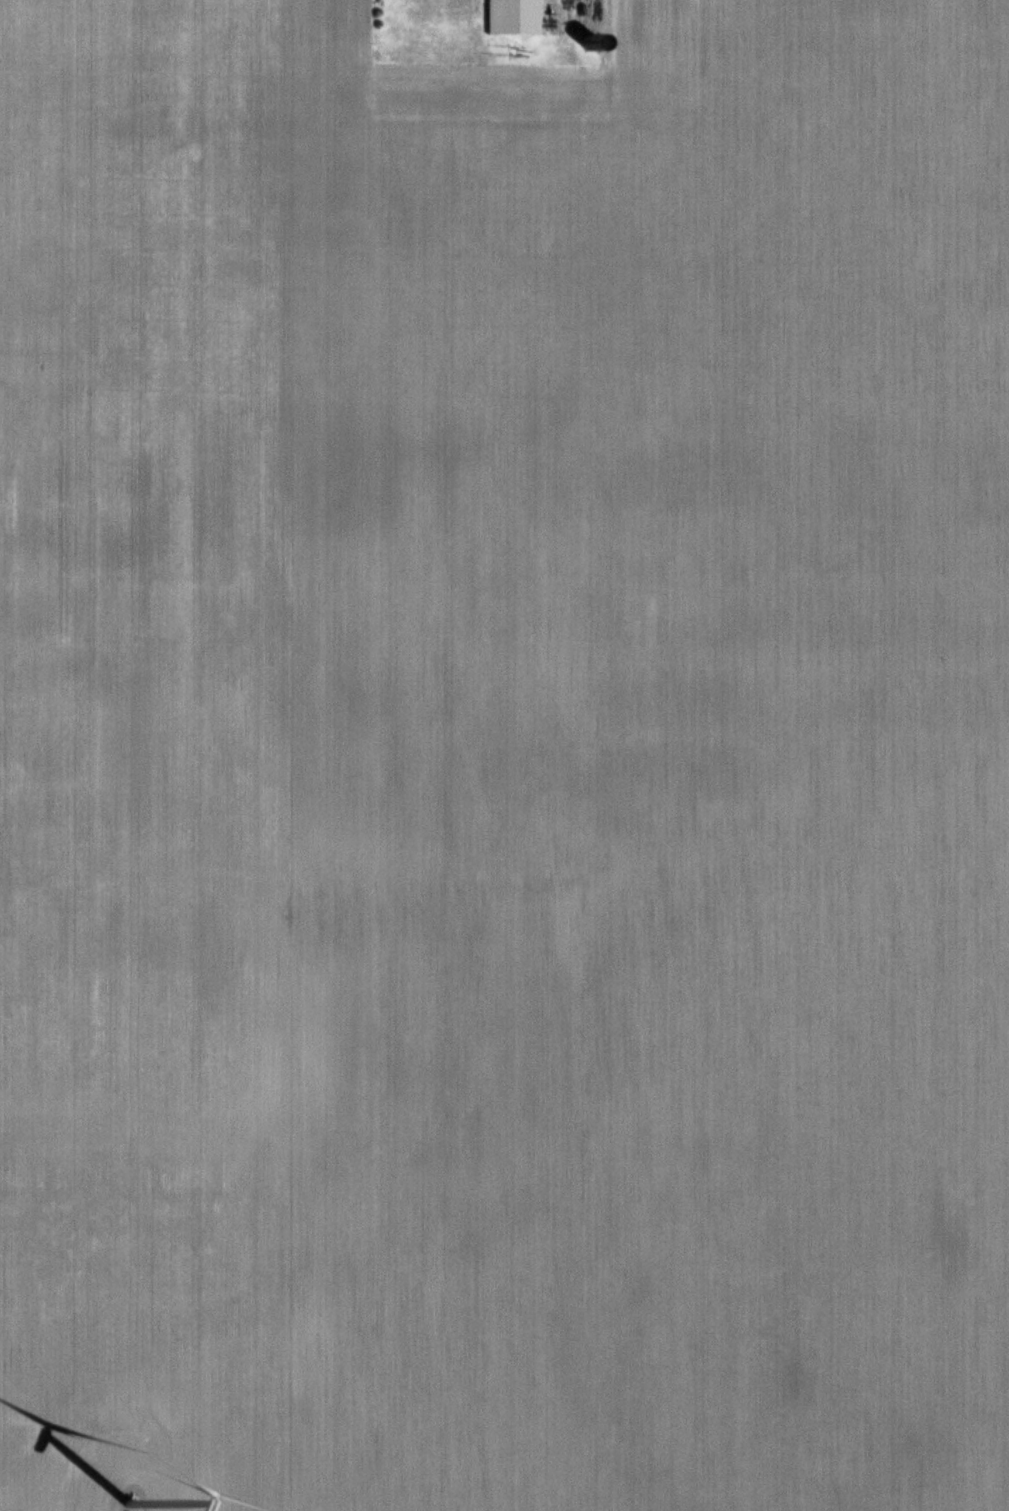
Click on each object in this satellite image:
building: (515, 16)
wind turbine: (110, 1477)

